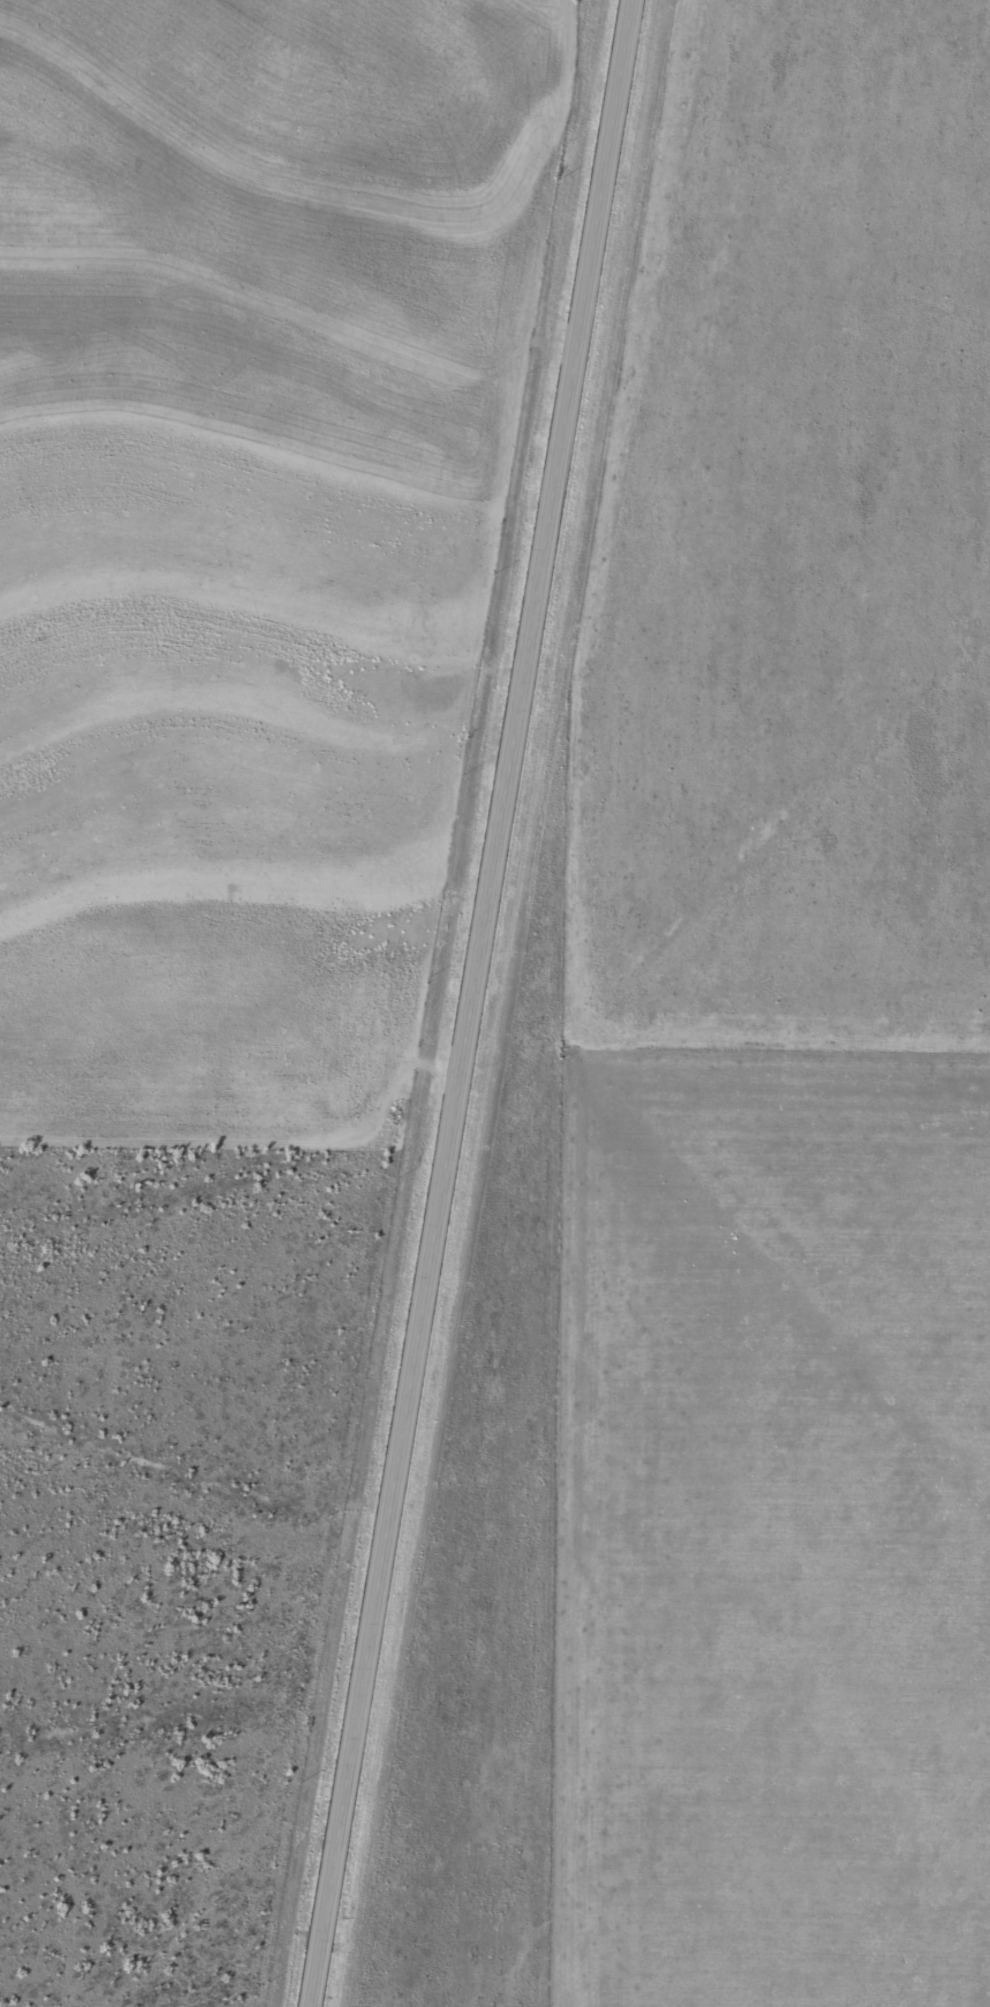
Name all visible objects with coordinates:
road: (473, 1003)

